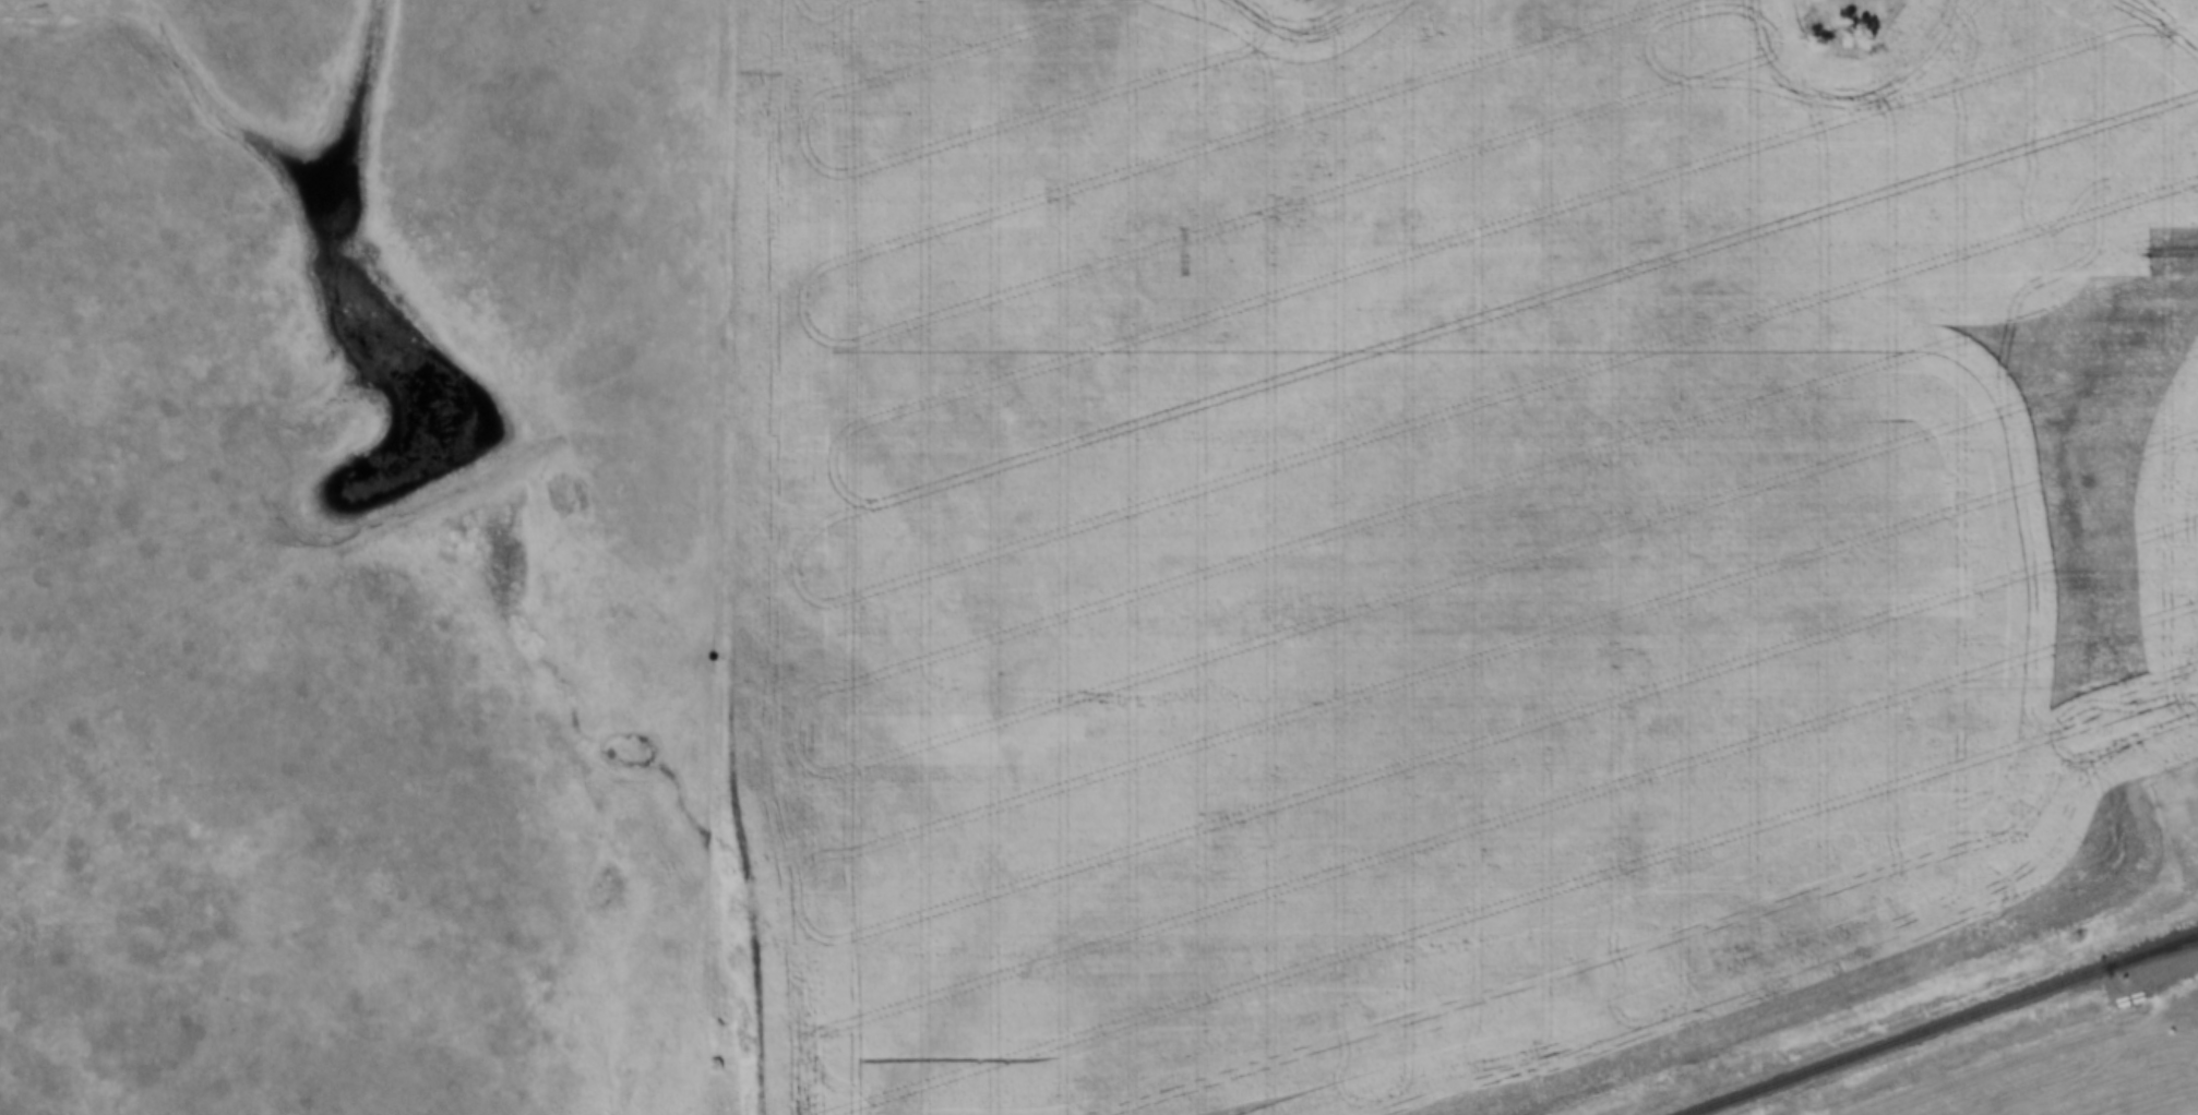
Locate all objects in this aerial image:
railway: (2151, 954)
road: (2175, 957)
railway: (1939, 1024)

